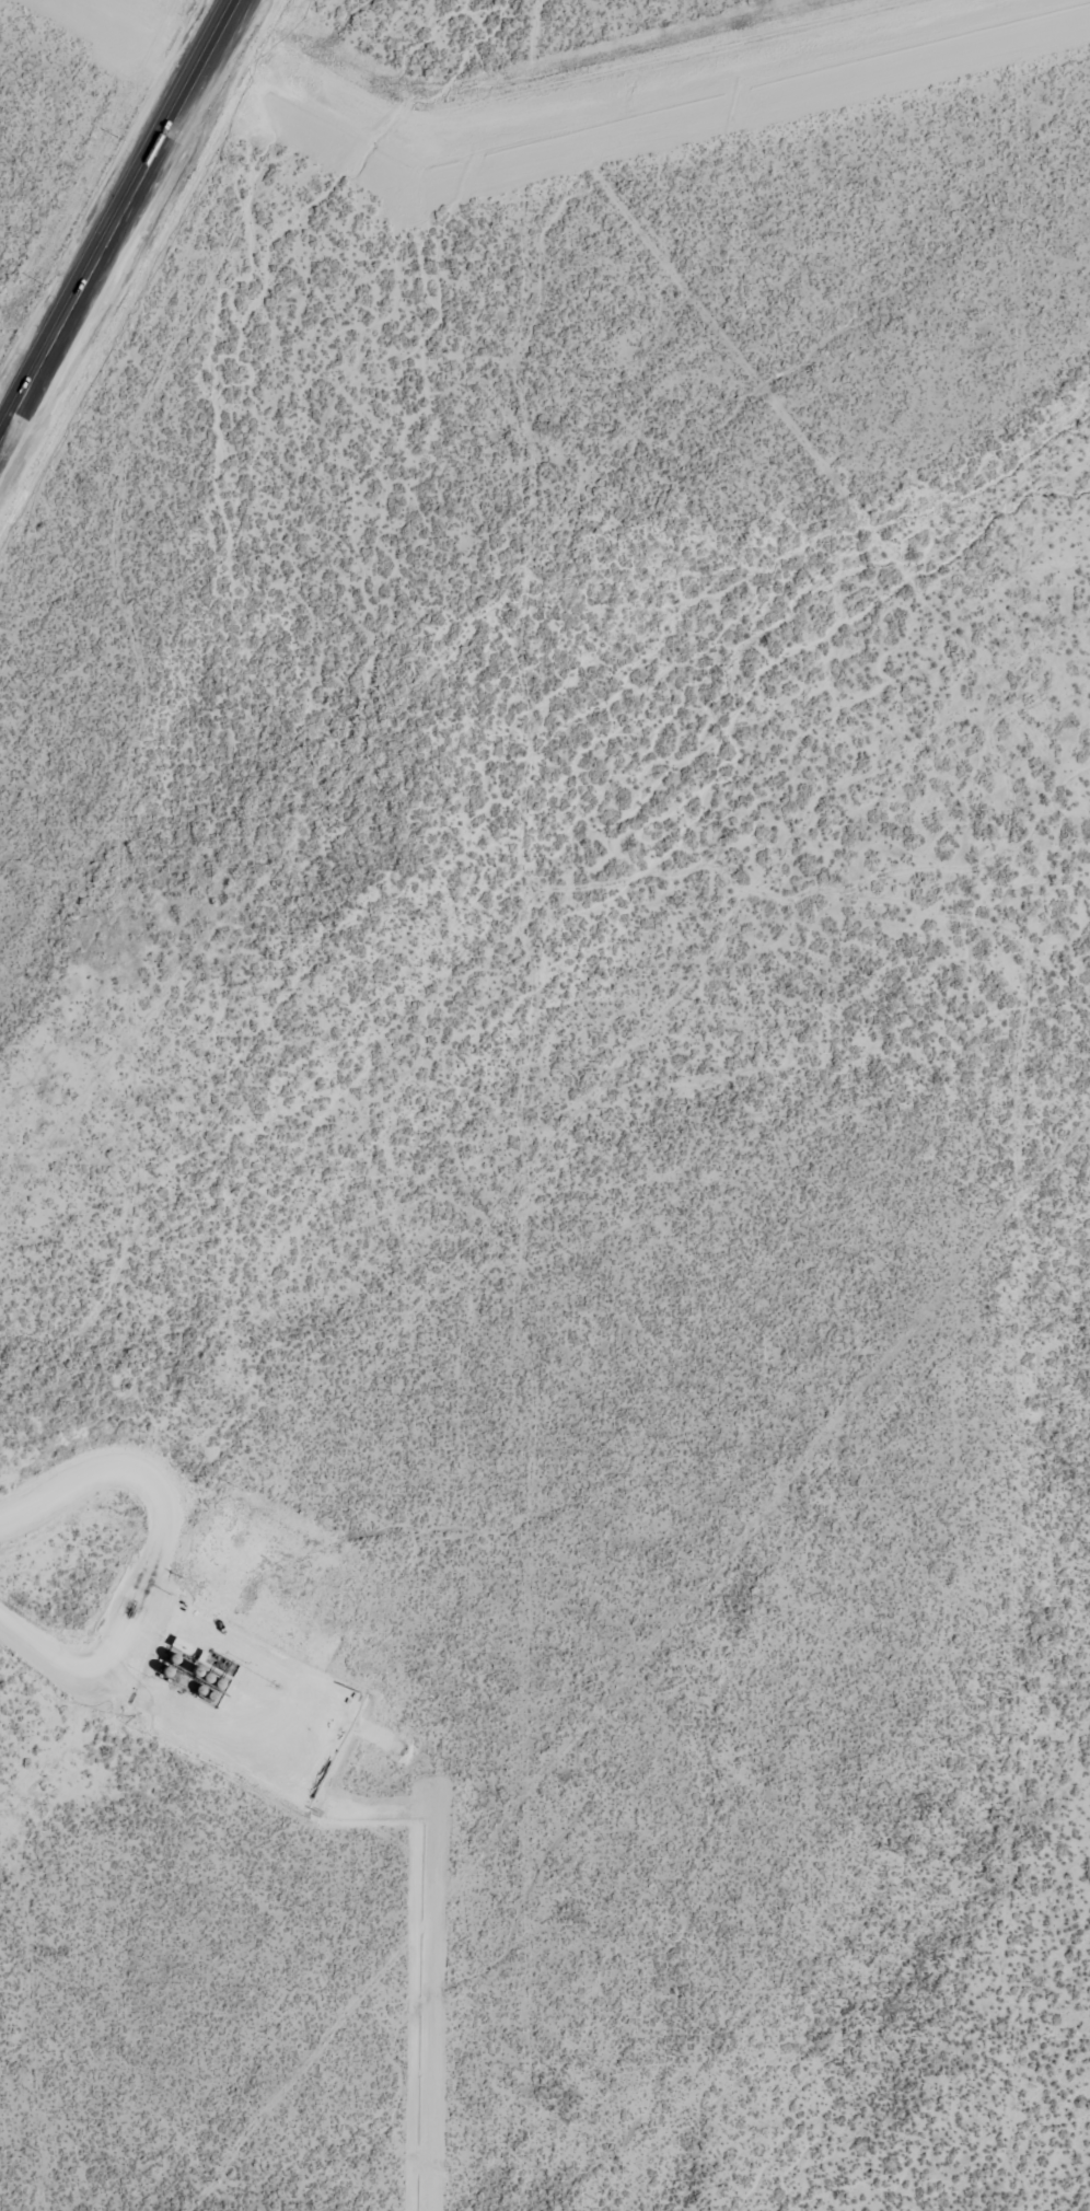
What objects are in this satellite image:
road: (118, 219)

